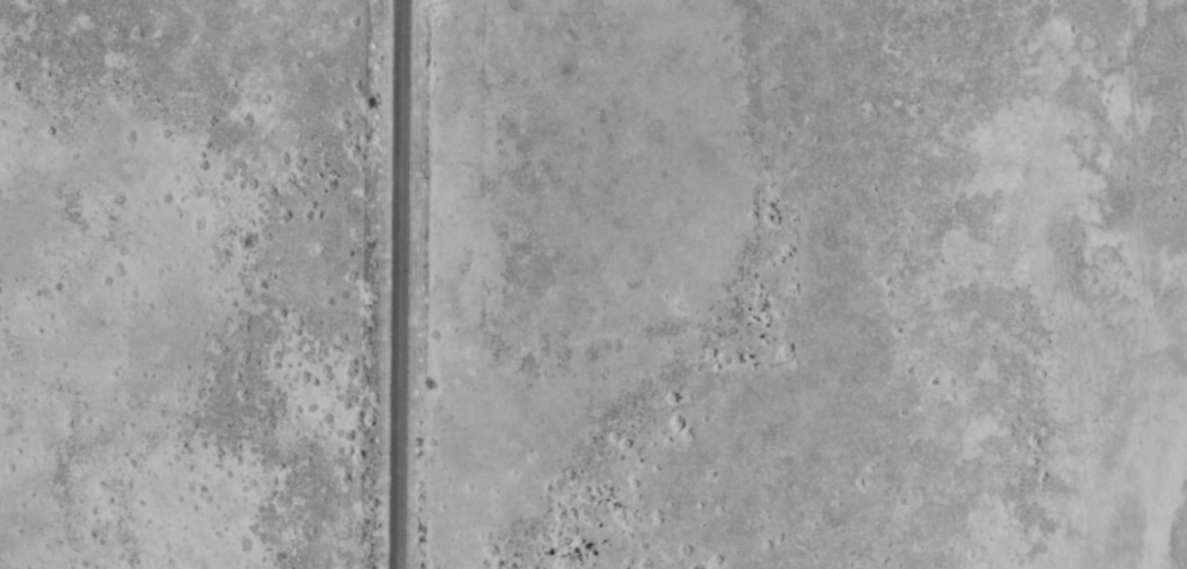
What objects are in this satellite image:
road: (395, 284)

